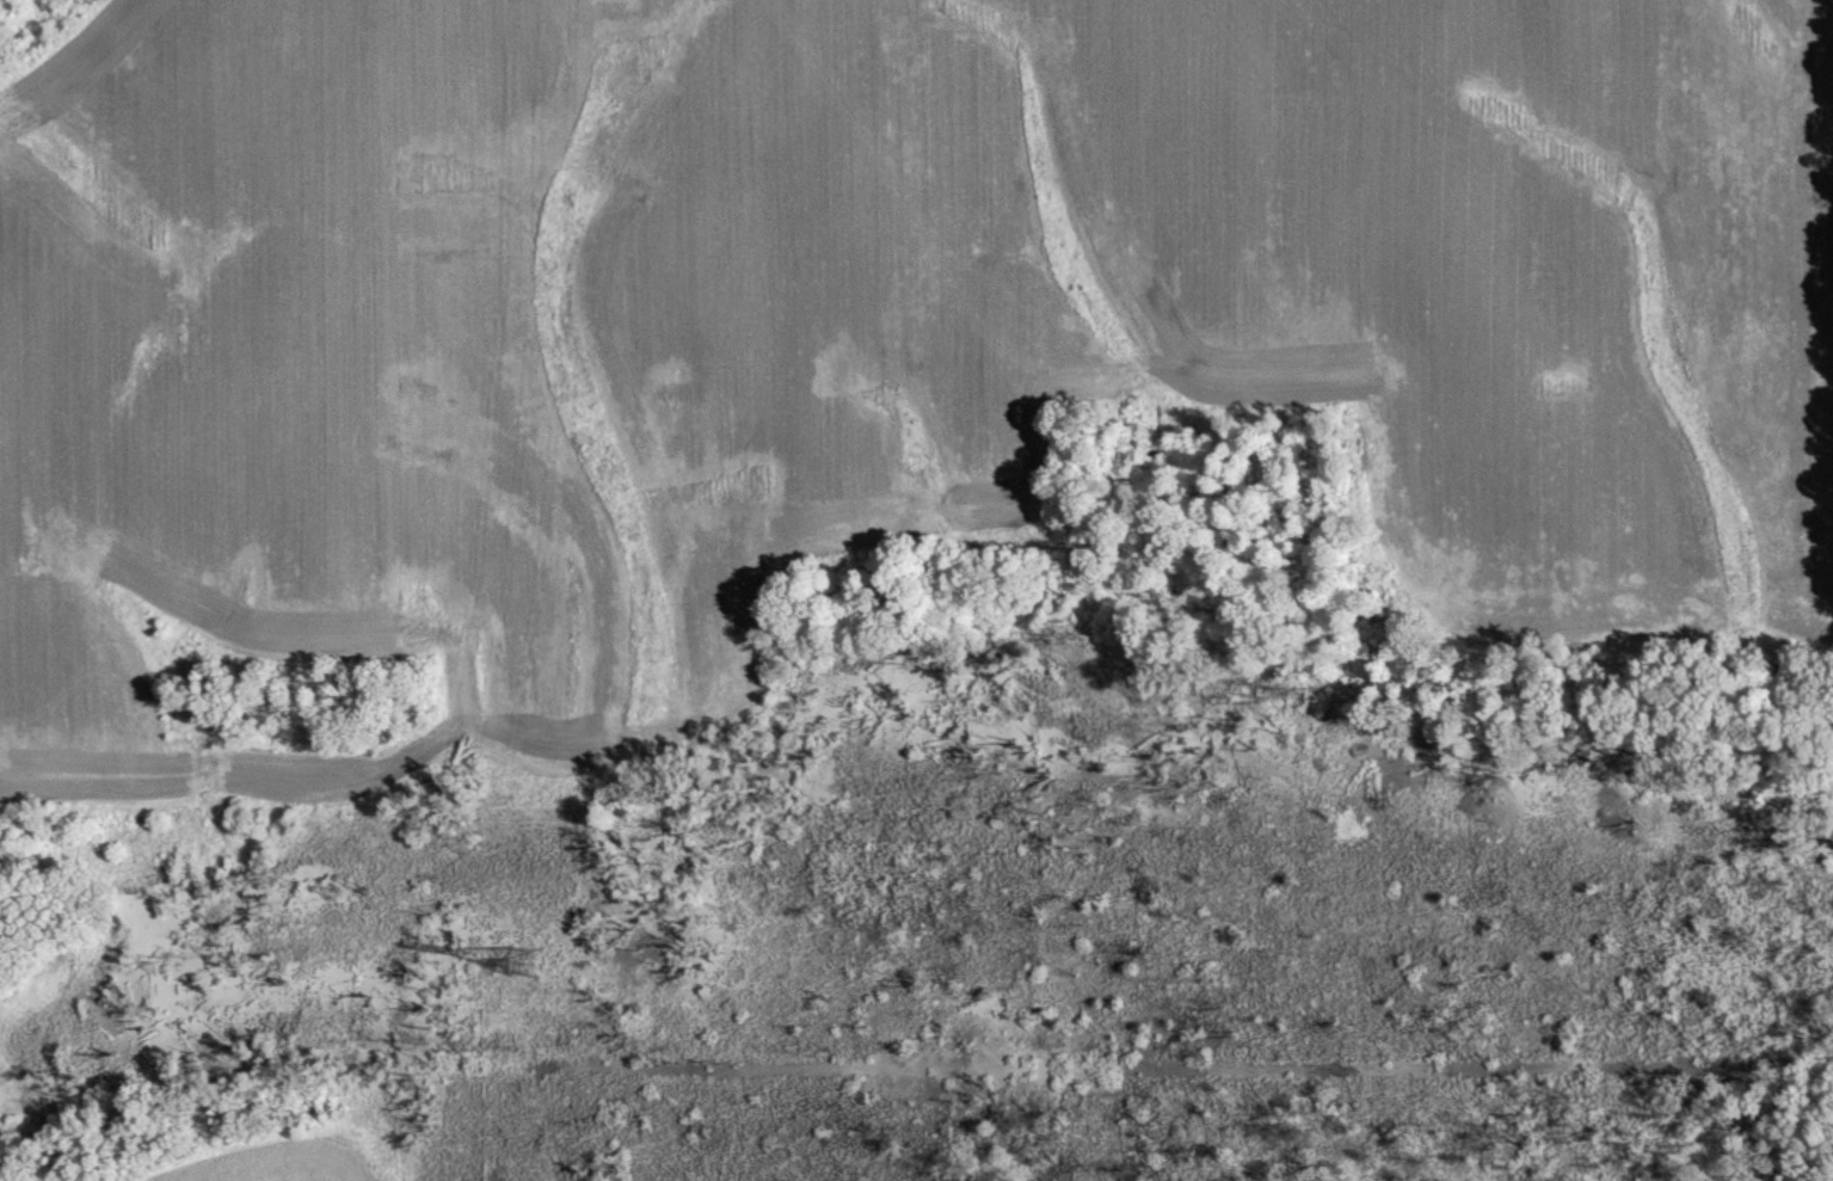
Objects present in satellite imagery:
power tower: (529, 961)

